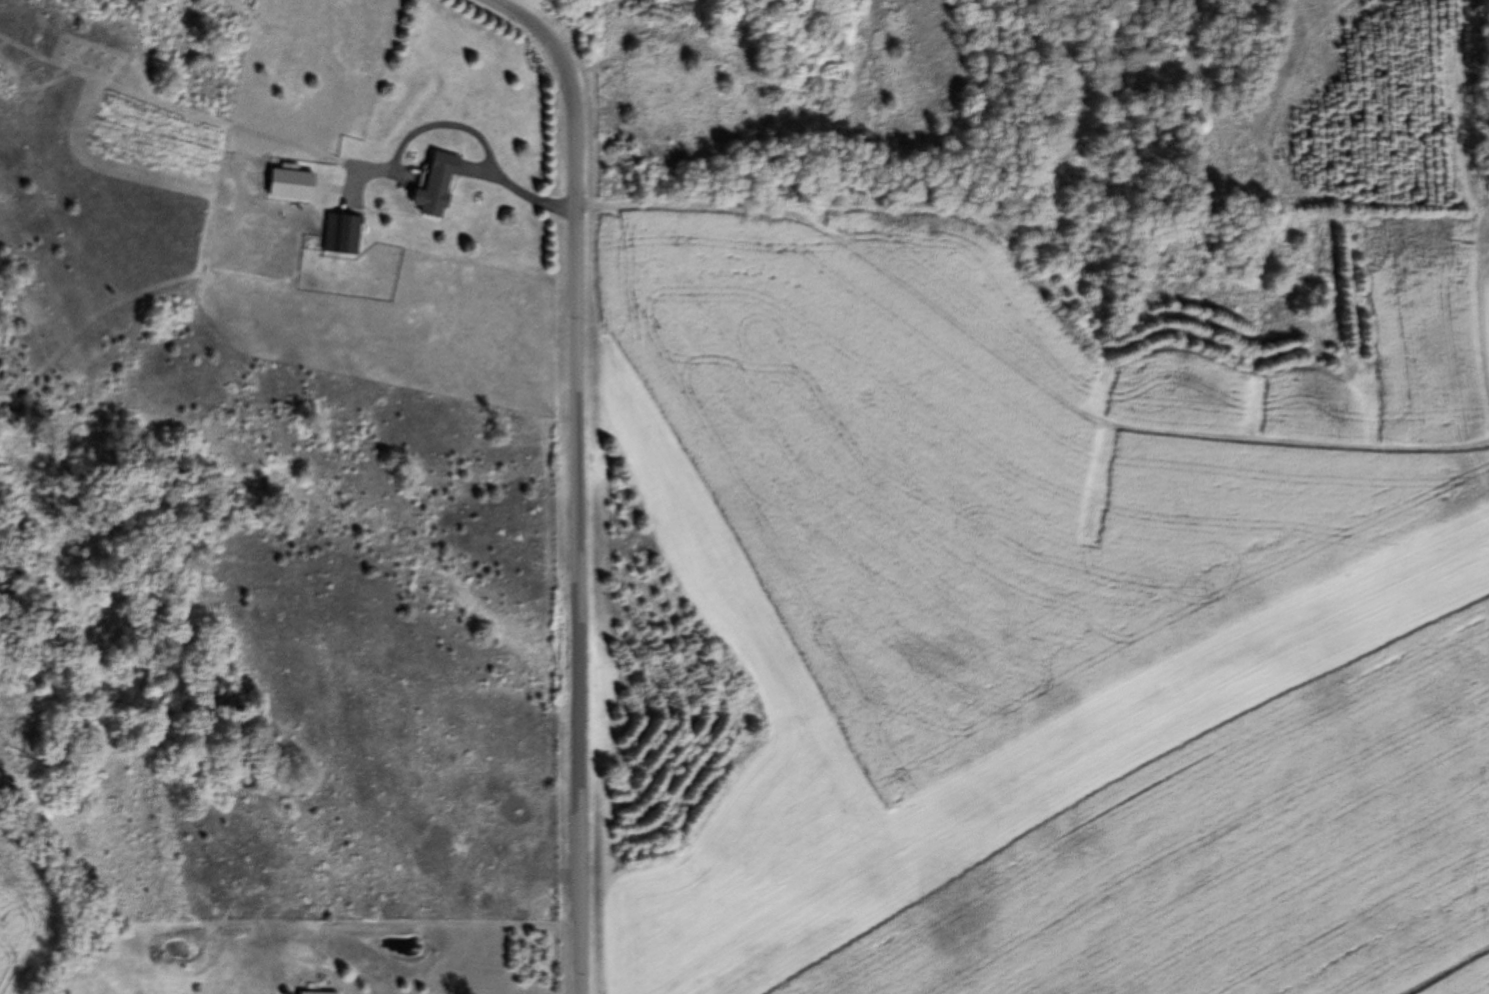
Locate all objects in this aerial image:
building: (438, 187)
road: (562, 460)
building: (319, 993)

